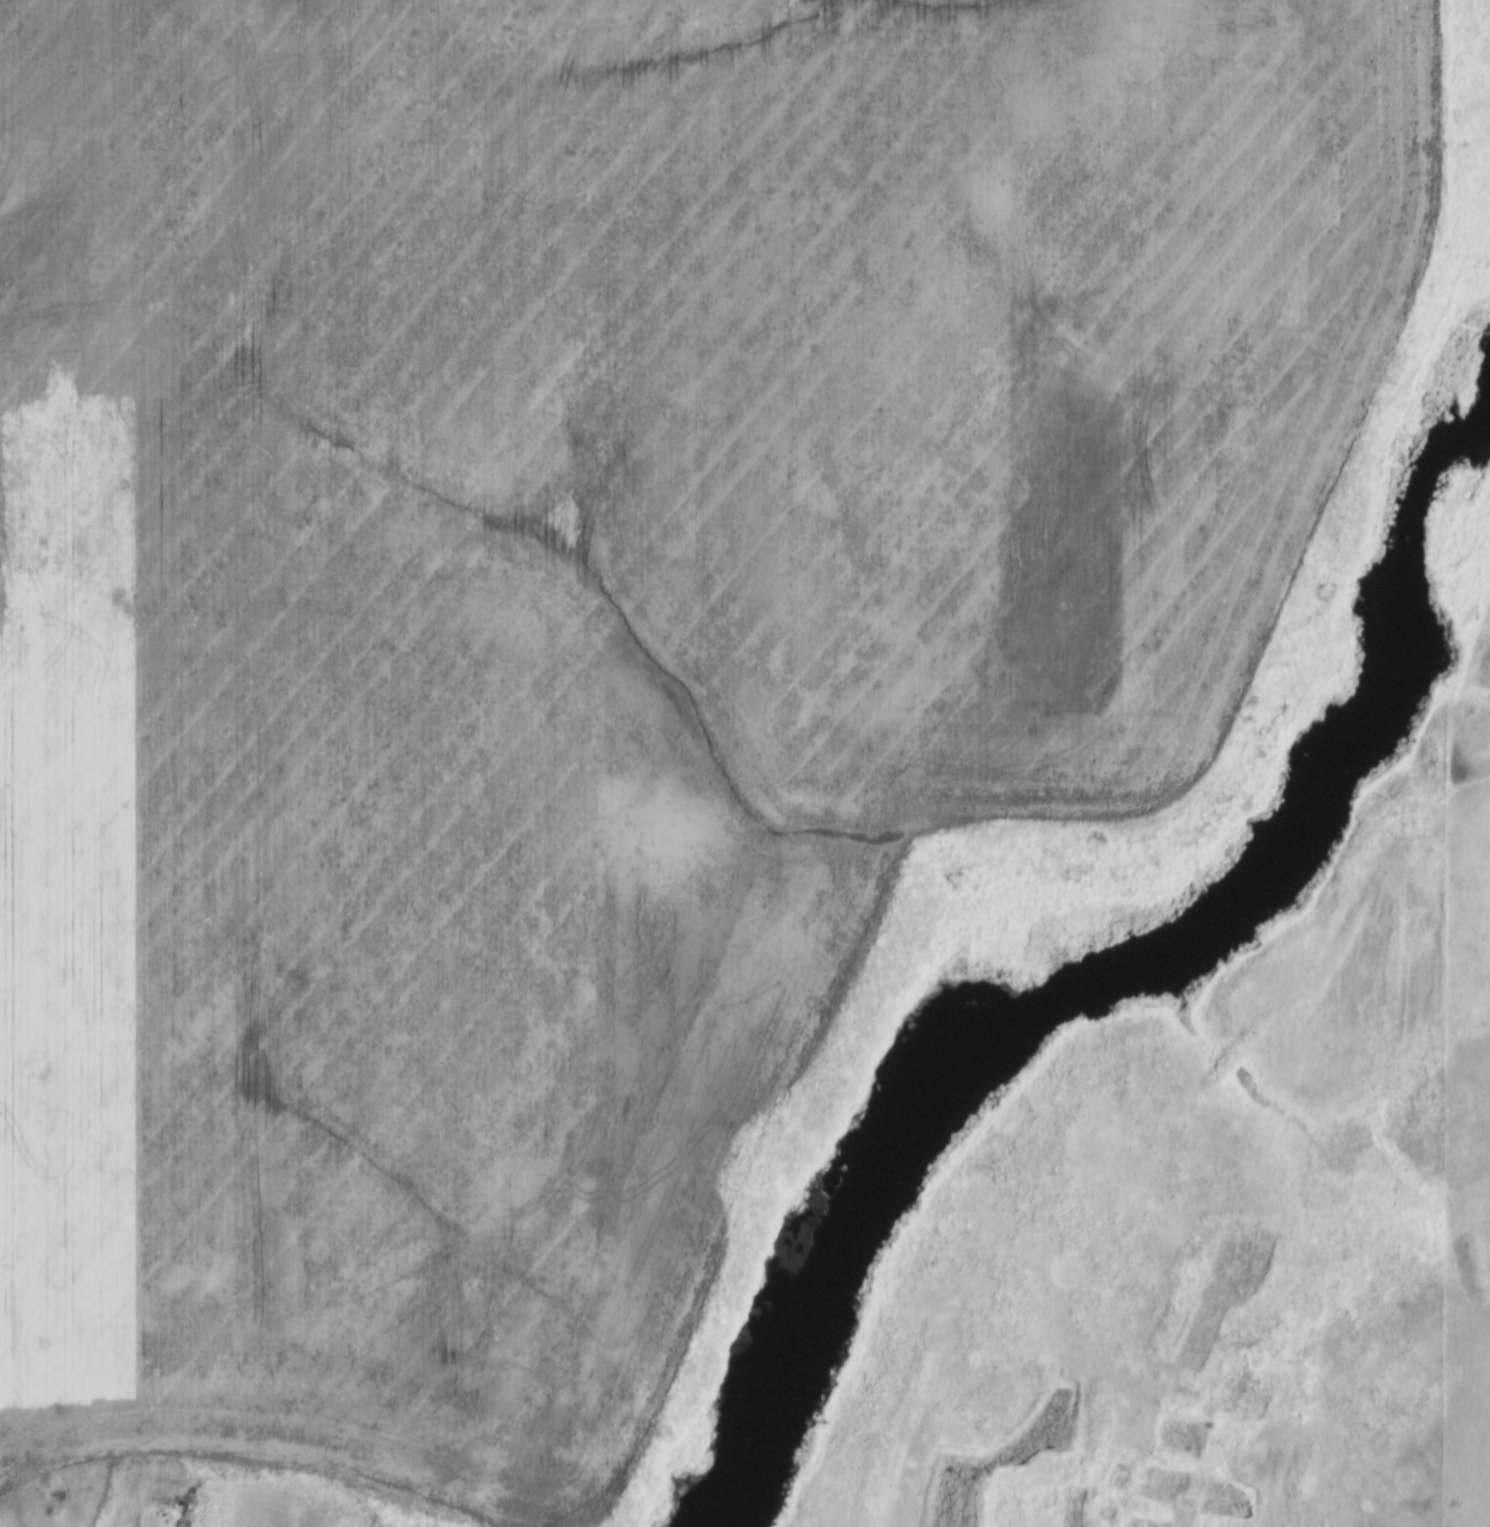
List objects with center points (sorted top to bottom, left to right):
river: (1124, 972)
quarry: (195, 1498)

